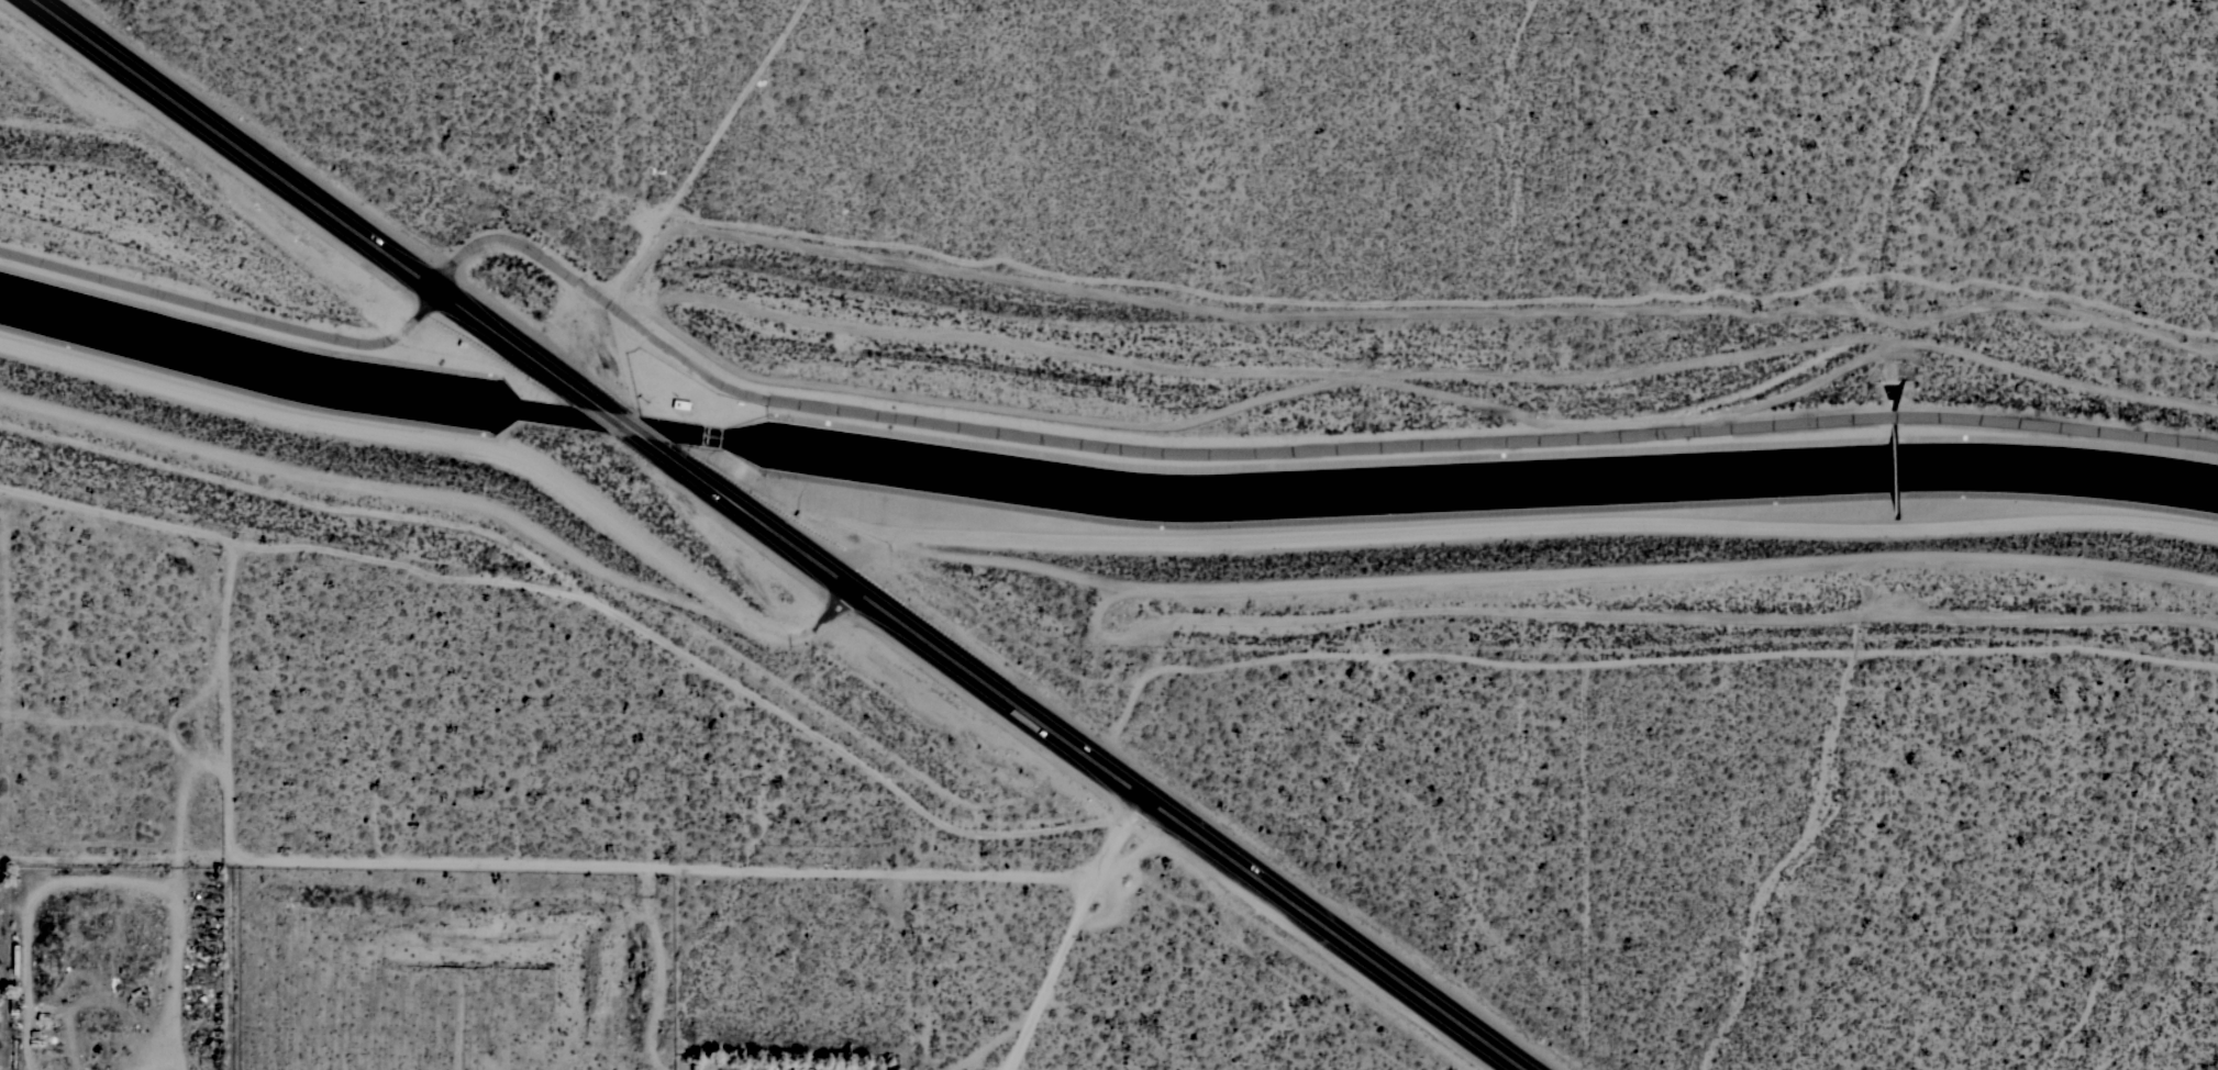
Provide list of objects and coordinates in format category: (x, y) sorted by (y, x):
road: (322, 205)
road: (631, 432)
road: (447, 491)
road: (295, 539)
road: (1628, 654)
road: (224, 693)
road: (1088, 760)
road: (1590, 849)
road: (553, 861)
road: (1074, 933)

